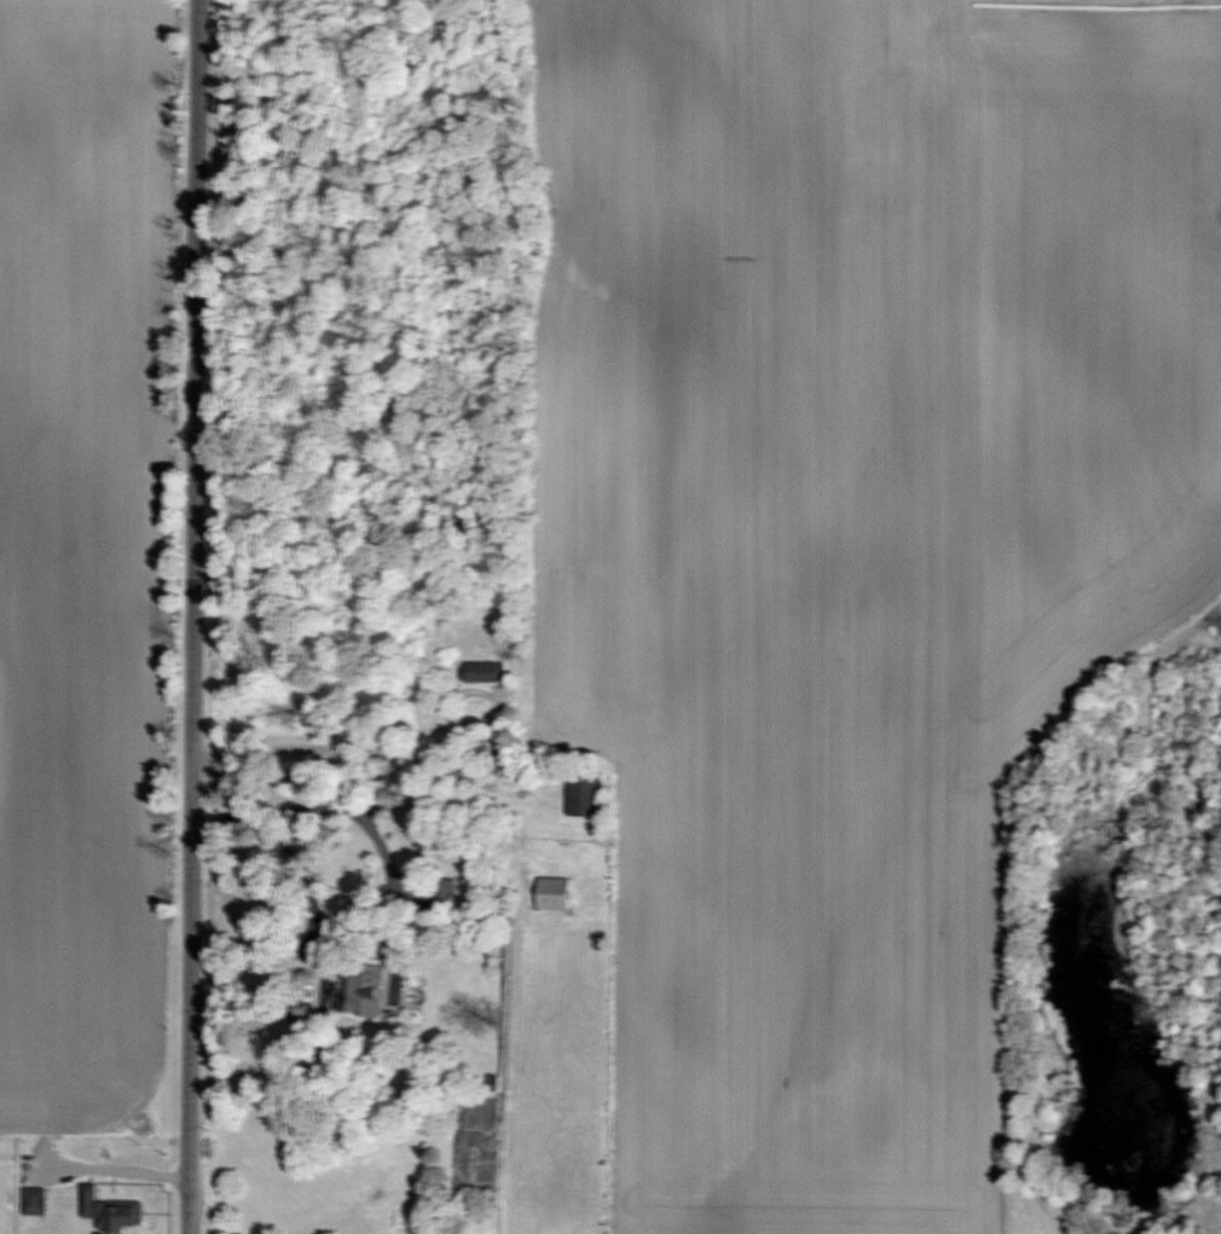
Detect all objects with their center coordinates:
road: (192, 616)
building: (478, 671)
building: (579, 795)
road: (349, 806)
road: (389, 870)
building: (546, 893)
road: (325, 969)
building: (355, 989)
road: (114, 1172)
building: (30, 1200)
building: (105, 1212)

